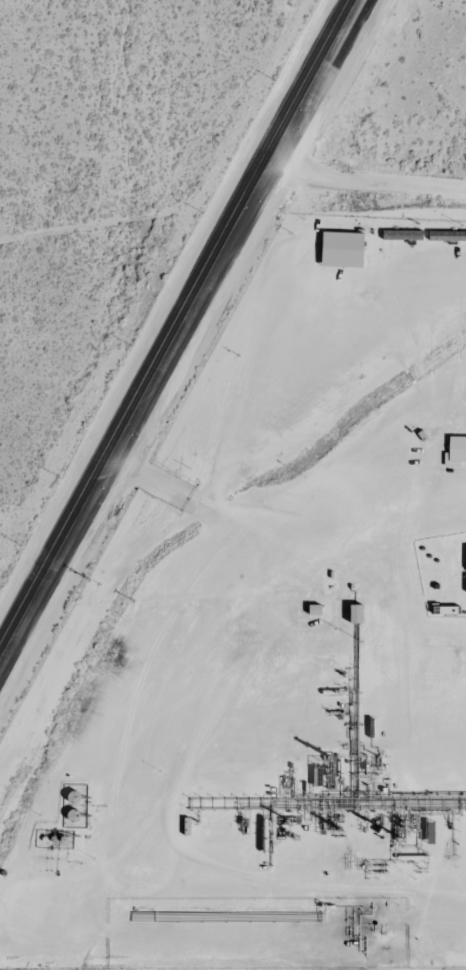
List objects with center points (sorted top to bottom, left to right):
road: (365, 177)
road: (118, 216)
building: (449, 236)
building: (346, 250)
road: (178, 328)
building: (457, 452)

